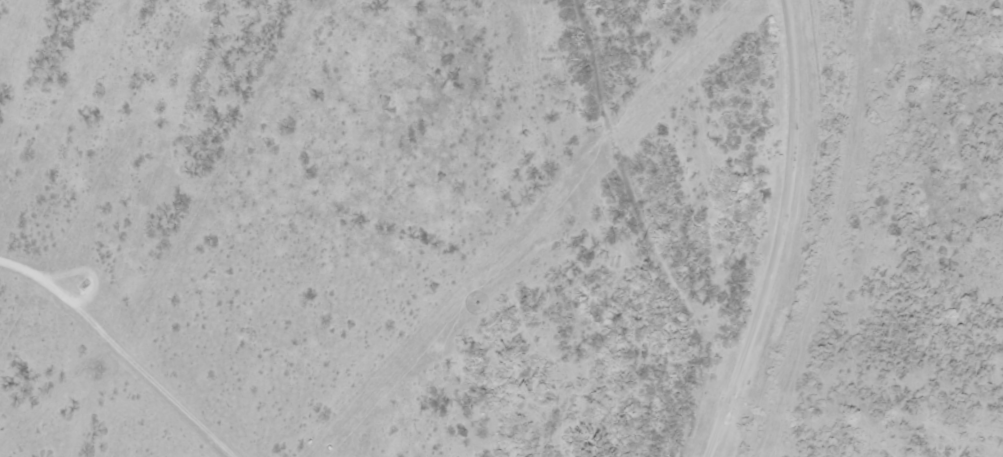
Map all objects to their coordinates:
road: (778, 232)
road: (116, 353)

